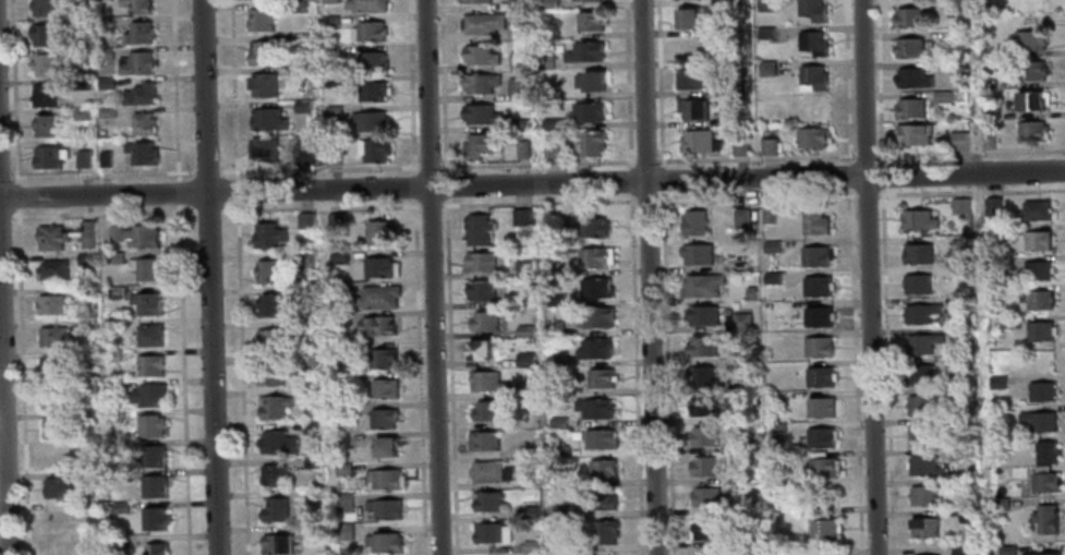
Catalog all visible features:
building: (474, 0)
building: (588, 0)
building: (329, 1)
building: (547, 3)
building: (513, 4)
building: (767, 4)
building: (136, 5)
building: (365, 5)
building: (299, 7)
building: (43, 8)
building: (815, 10)
building: (954, 10)
building: (693, 16)
building: (908, 16)
building: (262, 19)
building: (589, 21)
building: (328, 22)
building: (483, 22)
building: (77, 23)
building: (104, 24)
building: (370, 32)
building: (516, 32)
building: (138, 33)
building: (767, 33)
building: (46, 35)
building: (953, 37)
building: (300, 40)
building: (1027, 41)
building: (815, 43)
building: (907, 47)
building: (694, 49)
building: (330, 51)
building: (584, 51)
building: (105, 52)
building: (261, 52)
building: (80, 53)
building: (480, 55)
building: (371, 61)
building: (517, 61)
building: (544, 61)
building: (136, 63)
building: (45, 64)
building: (769, 68)
building: (956, 68)
building: (1027, 70)
building: (698, 77)
building: (911, 77)
building: (815, 79)
building: (332, 81)
building: (590, 81)
building: (81, 83)
building: (106, 83)
building: (480, 83)
road: (626, 83)
building: (263, 84)
road: (440, 86)
road: (409, 87)
building: (517, 88)
road: (849, 88)
road: (232, 89)
road: (172, 91)
road: (659, 91)
building: (372, 92)
road: (13, 93)
building: (140, 94)
building: (43, 95)
building: (942, 97)
building: (1030, 100)
building: (302, 106)
building: (694, 108)
building: (909, 109)
building: (990, 109)
building: (332, 111)
building: (588, 111)
building: (106, 112)
building: (82, 113)
building: (480, 113)
building: (267, 119)
building: (370, 121)
building: (142, 122)
building: (43, 124)
building: (519, 124)
building: (552, 124)
building: (1031, 129)
building: (912, 135)
building: (815, 136)
building: (702, 141)
building: (959, 141)
building: (988, 141)
building: (592, 143)
building: (479, 145)
building: (742, 146)
building: (772, 146)
building: (522, 148)
building: (262, 149)
building: (373, 149)
building: (553, 149)
building: (140, 152)
building: (302, 152)
building: (48, 156)
building: (334, 157)
building: (83, 158)
building: (105, 158)
road: (631, 162)
road: (645, 162)
road: (658, 162)
road: (533, 165)
road: (427, 167)
road: (317, 169)
road: (205, 172)
road: (100, 173)
road: (3, 177)
road: (629, 181)
road: (444, 185)
road: (532, 185)
road: (412, 186)
road: (234, 191)
road: (176, 192)
road: (16, 196)
road: (305, 201)
road: (332, 201)
road: (641, 201)
road: (537, 203)
road: (428, 205)
building: (963, 205)
road: (375, 206)
building: (993, 206)
road: (261, 209)
building: (1036, 209)
road: (205, 210)
road: (100, 213)
building: (767, 214)
road: (4, 216)
building: (521, 217)
building: (740, 217)
building: (923, 219)
building: (305, 220)
building: (814, 220)
building: (336, 221)
building: (694, 222)
building: (592, 227)
building: (477, 230)
building: (379, 232)
building: (86, 234)
building: (134, 234)
building: (267, 234)
building: (50, 237)
building: (1036, 240)
building: (772, 245)
building: (920, 253)
building: (697, 254)
building: (814, 255)
building: (113, 256)
building: (338, 256)
building: (595, 256)
building: (85, 258)
building: (305, 258)
building: (1003, 261)
building: (480, 262)
building: (378, 266)
building: (523, 267)
building: (145, 268)
building: (554, 268)
building: (52, 269)
building: (1038, 270)
building: (954, 272)
building: (269, 273)
road: (209, 277)
road: (431, 277)
road: (649, 277)
building: (772, 277)
road: (868, 277)
road: (885, 277)
building: (920, 282)
building: (702, 286)
building: (816, 286)
building: (341, 287)
building: (596, 287)
building: (480, 290)
building: (85, 291)
building: (116, 292)
building: (306, 292)
building: (750, 293)
building: (378, 297)
building: (524, 299)
building: (1037, 299)
building: (555, 300)
building: (50, 303)
building: (146, 303)
building: (274, 305)
building: (922, 312)
building: (702, 315)
building: (597, 316)
building: (818, 316)
building: (484, 321)
building: (741, 321)
building: (1009, 322)
building: (377, 325)
building: (87, 326)
building: (306, 326)
building: (555, 328)
building: (1040, 330)
building: (524, 331)
building: (966, 331)
building: (147, 335)
building: (51, 336)
building: (270, 339)
building: (922, 342)
building: (701, 346)
building: (816, 346)
building: (480, 349)
building: (594, 349)
building: (741, 354)
building: (111, 355)
building: (88, 357)
building: (382, 358)
building: (308, 360)
building: (524, 360)
building: (556, 360)
building: (967, 361)
building: (149, 365)
building: (52, 366)
building: (270, 374)
road: (634, 374)
building: (922, 374)
road: (417, 376)
road: (448, 376)
building: (703, 376)
building: (820, 376)
building: (340, 377)
road: (240, 378)
building: (600, 378)
road: (181, 379)
building: (485, 381)
road: (21, 382)
building: (997, 382)
building: (743, 385)
building: (88, 386)
building: (112, 386)
building: (384, 388)
building: (525, 389)
building: (1041, 390)
building: (951, 391)
building: (308, 394)
building: (147, 395)
building: (53, 397)
building: (922, 405)
building: (701, 406)
building: (273, 407)
building: (823, 407)
building: (593, 408)
building: (486, 411)
building: (1001, 414)
building: (114, 415)
building: (89, 417)
building: (383, 418)
building: (1039, 420)
building: (559, 422)
building: (961, 424)
building: (149, 425)
building: (311, 427)
building: (57, 429)
road: (2, 431)
building: (777, 433)
building: (921, 434)
building: (707, 436)
building: (821, 437)
building: (601, 438)
building: (339, 441)
building: (483, 441)
building: (277, 442)
building: (745, 445)
building: (385, 446)
building: (1045, 450)
building: (559, 451)
building: (965, 453)
building: (152, 456)
building: (55, 458)
building: (311, 461)
building: (705, 464)
building: (925, 464)
building: (823, 467)
building: (342, 469)
building: (601, 469)
building: (491, 471)
building: (1002, 472)
building: (90, 475)
building: (273, 475)
building: (116, 478)
building: (385, 479)
building: (959, 481)
building: (1044, 482)
building: (154, 486)
building: (56, 487)
building: (780, 491)
building: (927, 494)
building: (313, 496)
building: (707, 496)
building: (486, 500)
building: (601, 500)
building: (344, 502)
building: (1000, 504)
building: (747, 506)
building: (119, 507)
building: (384, 508)
building: (274, 509)
building: (560, 511)
building: (970, 511)
building: (531, 512)
building: (1045, 518)
building: (56, 519)
building: (153, 519)
building: (823, 522)
building: (927, 527)
building: (710, 530)
building: (343, 531)
building: (605, 531)
road: (861, 531)
building: (491, 532)
building: (117, 542)
building: (385, 542)
building: (276, 543)
building: (746, 543)
building: (530, 546)
building: (565, 547)
building: (155, 548)
building: (1006, 550)
building: (961, 551)
building: (60, 552)
building: (1041, 553)

